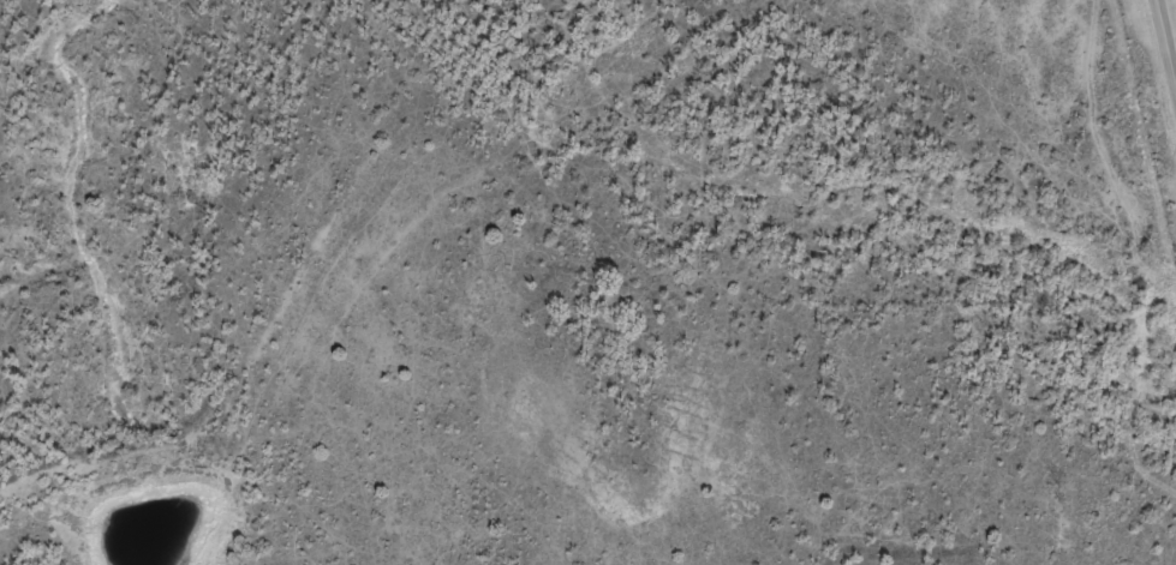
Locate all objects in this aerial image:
road: (1163, 56)

